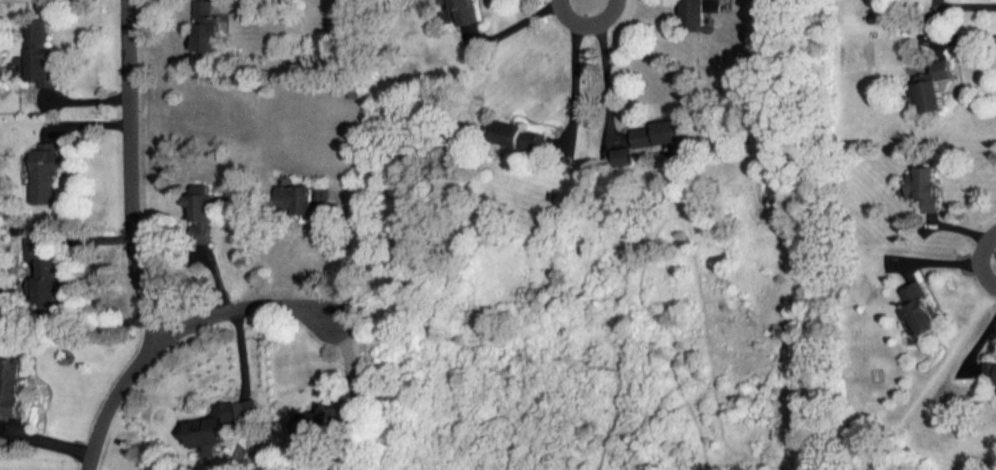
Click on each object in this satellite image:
road: (967, 6)
building: (706, 11)
building: (463, 12)
road: (525, 23)
building: (209, 27)
building: (41, 52)
road: (602, 63)
road: (576, 69)
building: (936, 87)
building: (662, 136)
building: (622, 153)
road: (135, 172)
building: (927, 189)
building: (300, 201)
building: (205, 215)
road: (347, 258)
road: (944, 258)
road: (75, 282)
building: (924, 308)
road: (178, 333)
road: (241, 359)
building: (992, 367)
building: (15, 390)
building: (324, 421)
building: (218, 429)

